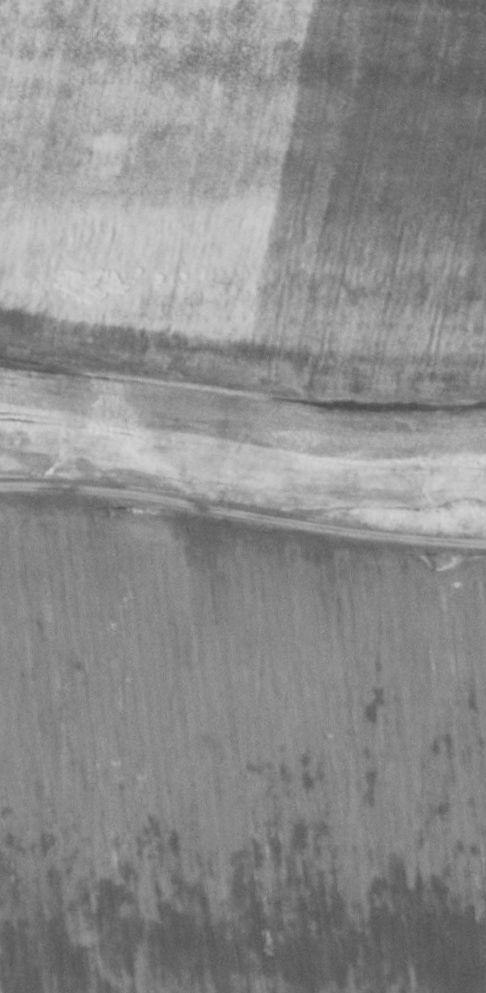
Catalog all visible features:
road: (243, 513)

